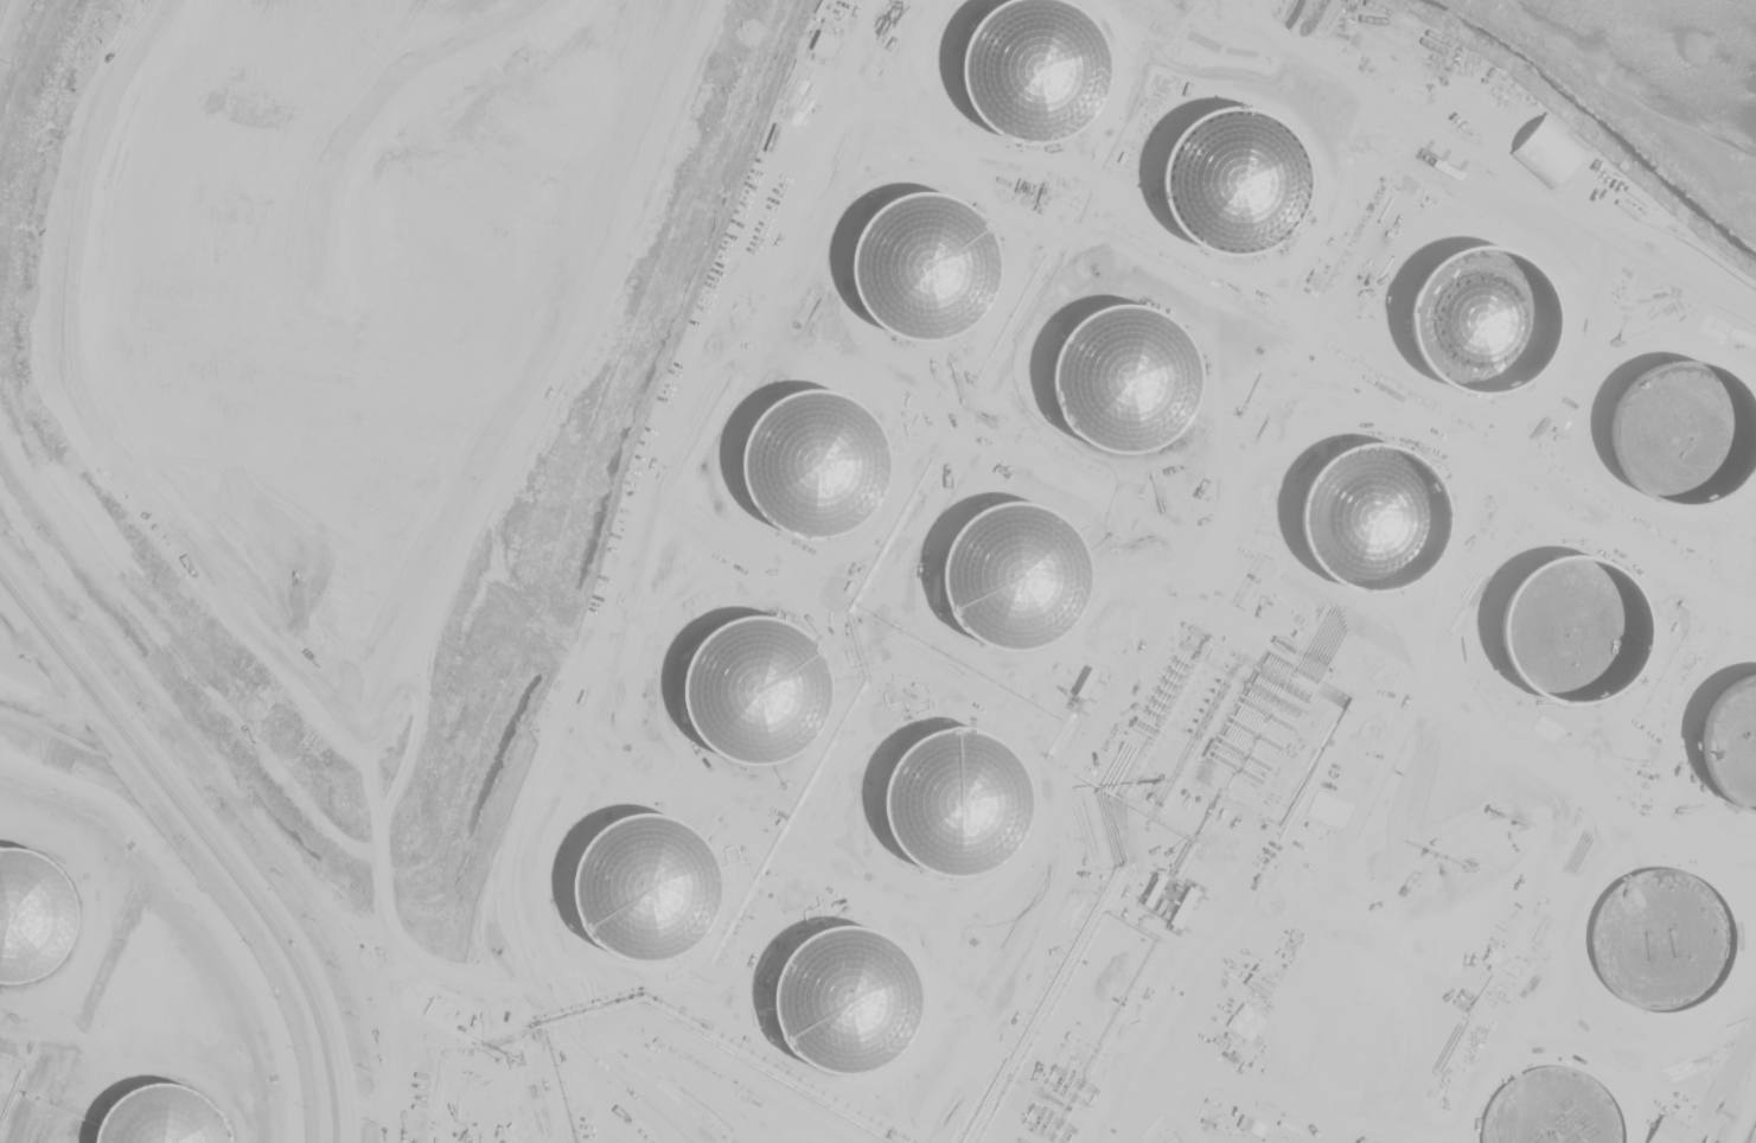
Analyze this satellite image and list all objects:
building: (828, 43)
building: (793, 115)
building: (902, 588)
building: (1595, 589)
road: (50, 695)
building: (573, 695)
building: (692, 800)
road: (213, 836)
building: (728, 907)
building: (803, 977)
road: (665, 1020)
building: (697, 1051)
building: (778, 1096)
road: (665, 1102)
building: (651, 1136)
building: (810, 1142)

